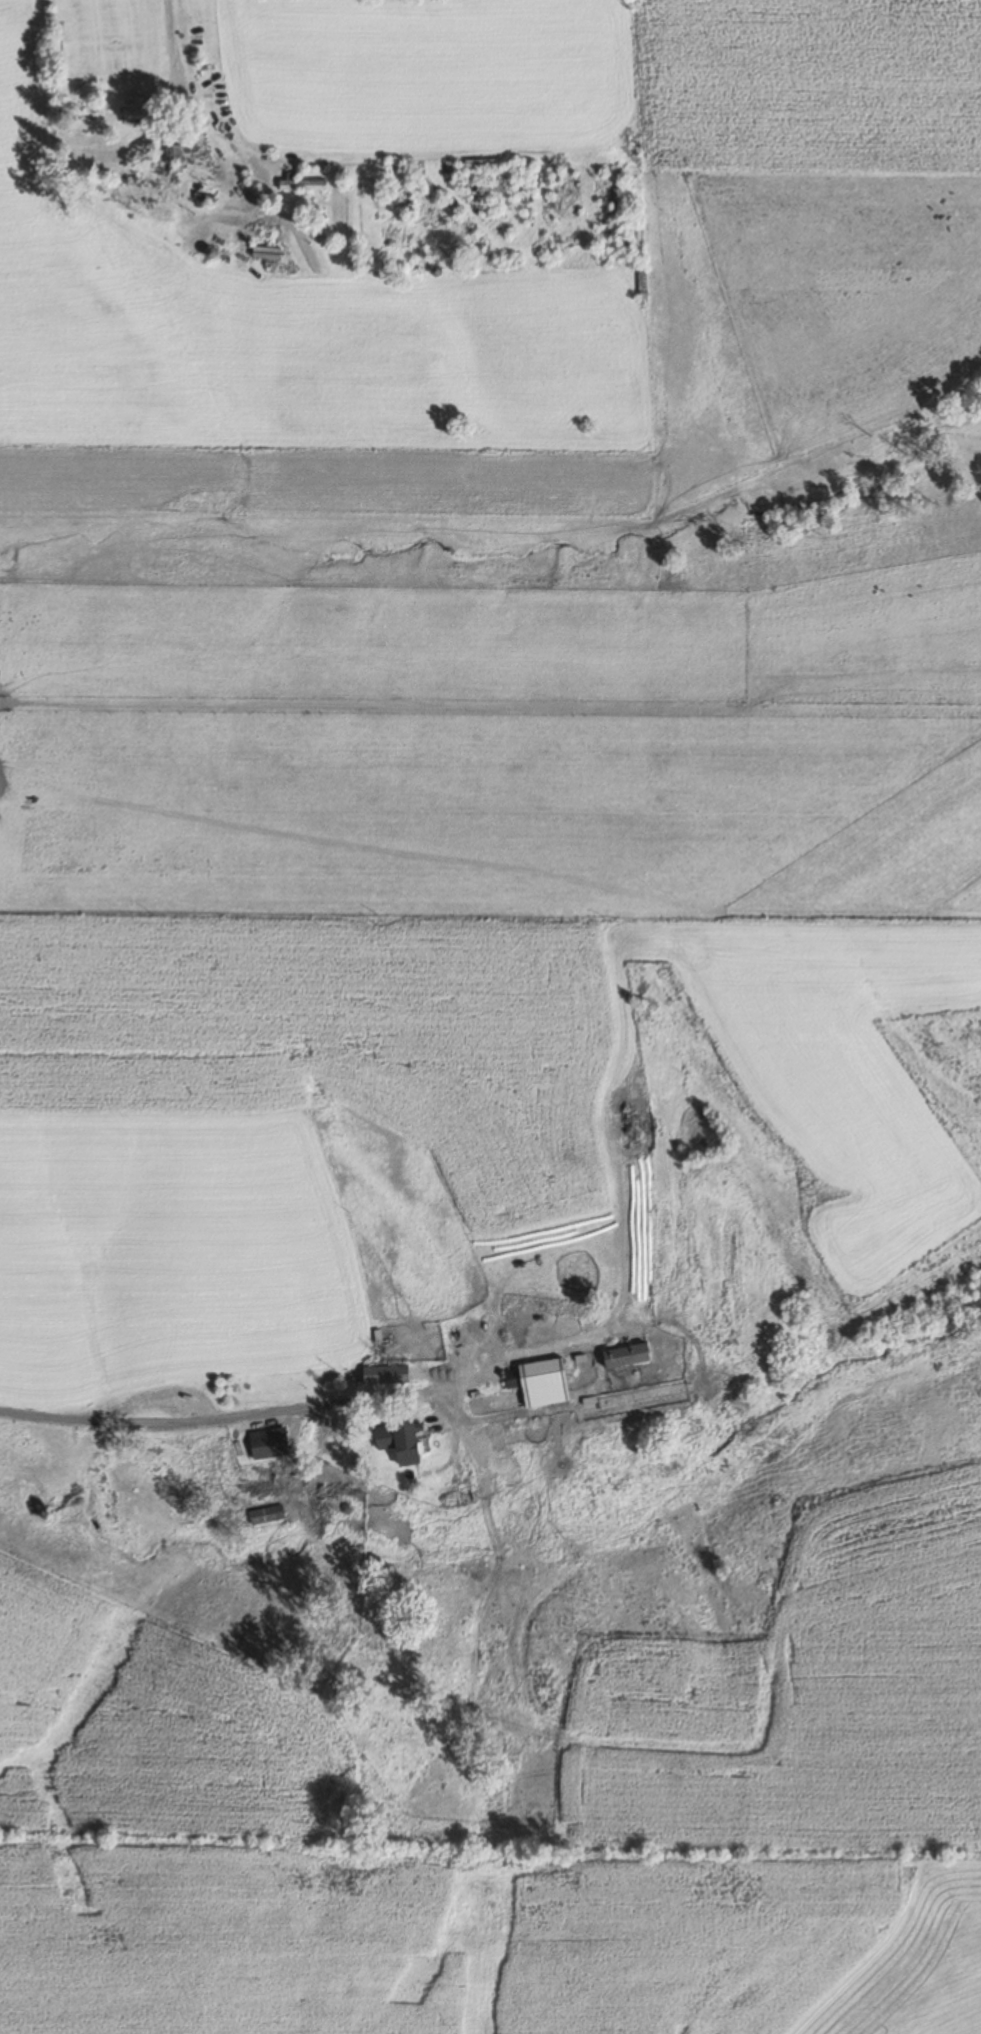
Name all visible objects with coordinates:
building: (132, 110)
building: (485, 173)
building: (300, 183)
building: (483, 186)
building: (624, 1356)
building: (383, 1375)
building: (508, 1379)
building: (541, 1383)
road: (157, 1426)
building: (396, 1442)
building: (266, 1444)
building: (461, 1493)
building: (264, 1514)

